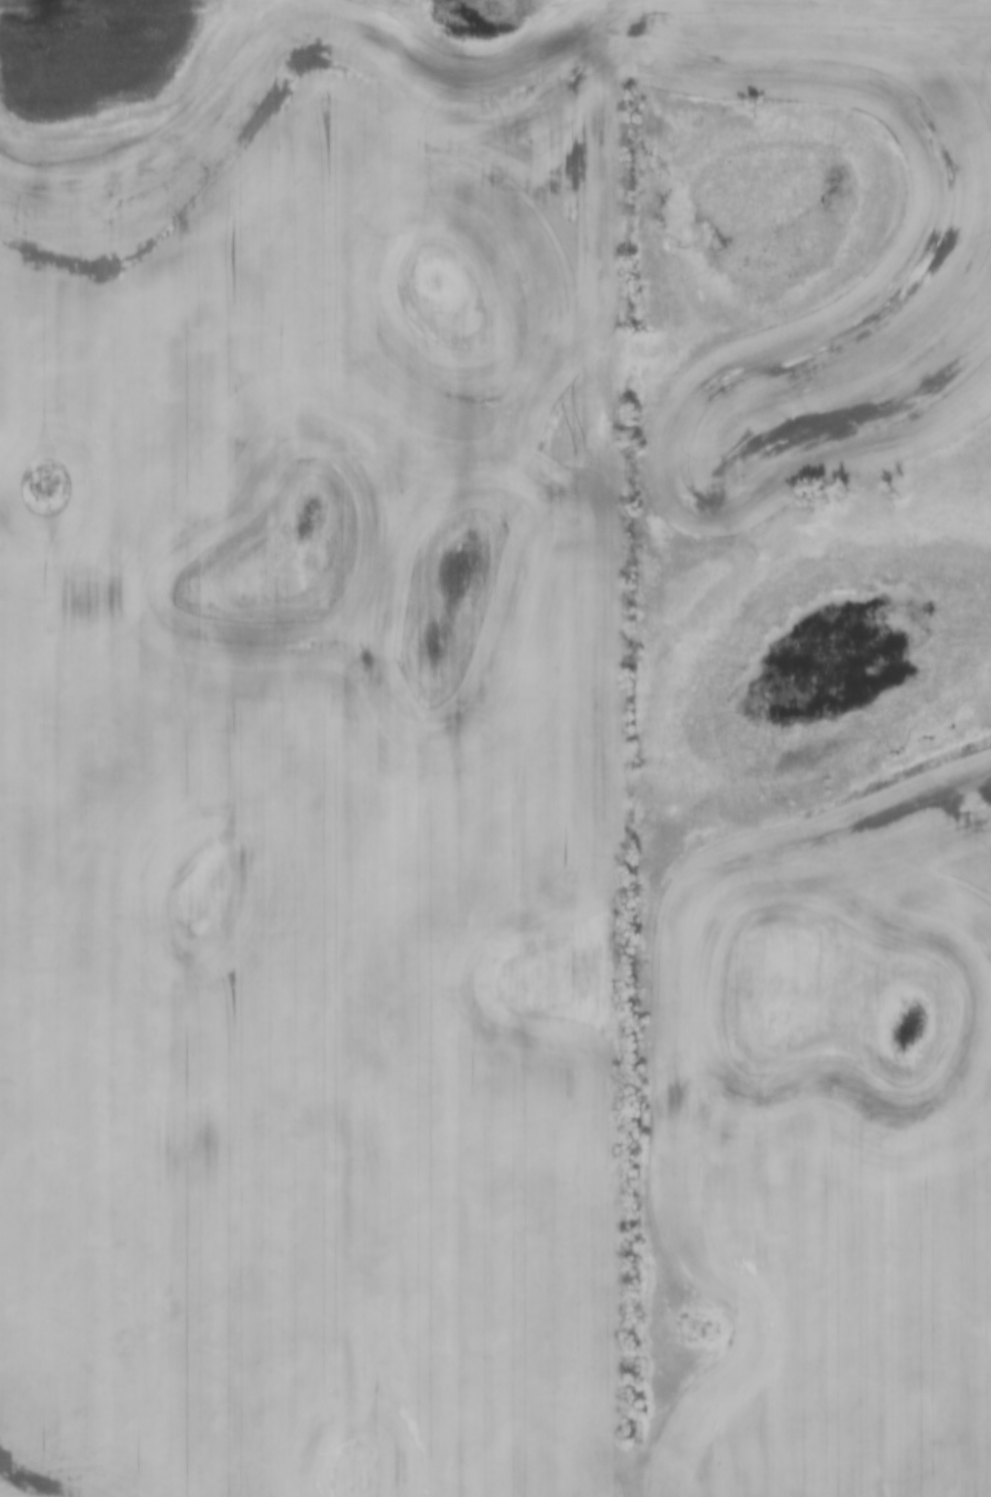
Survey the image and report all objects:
road: (317, 110)

